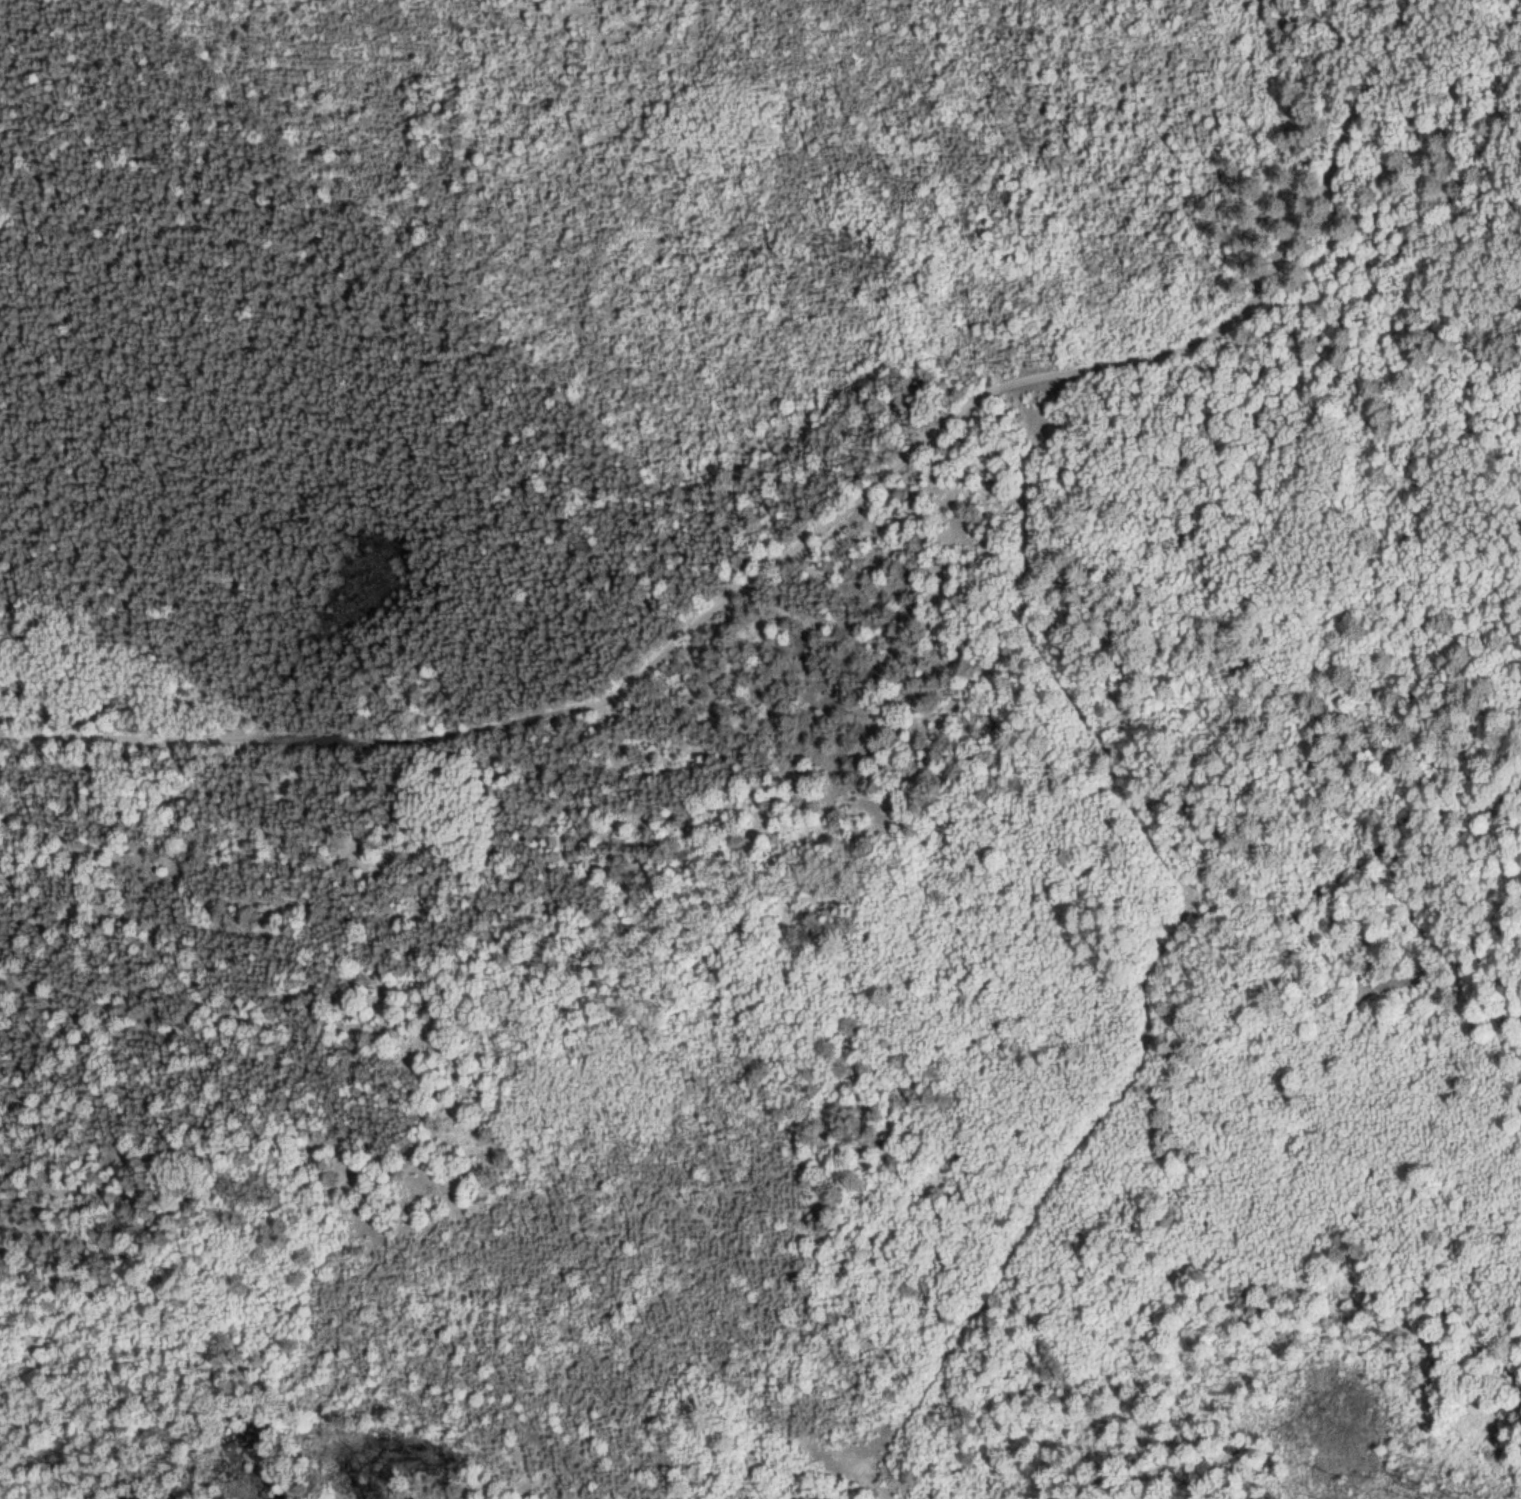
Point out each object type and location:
road: (794, 525)

